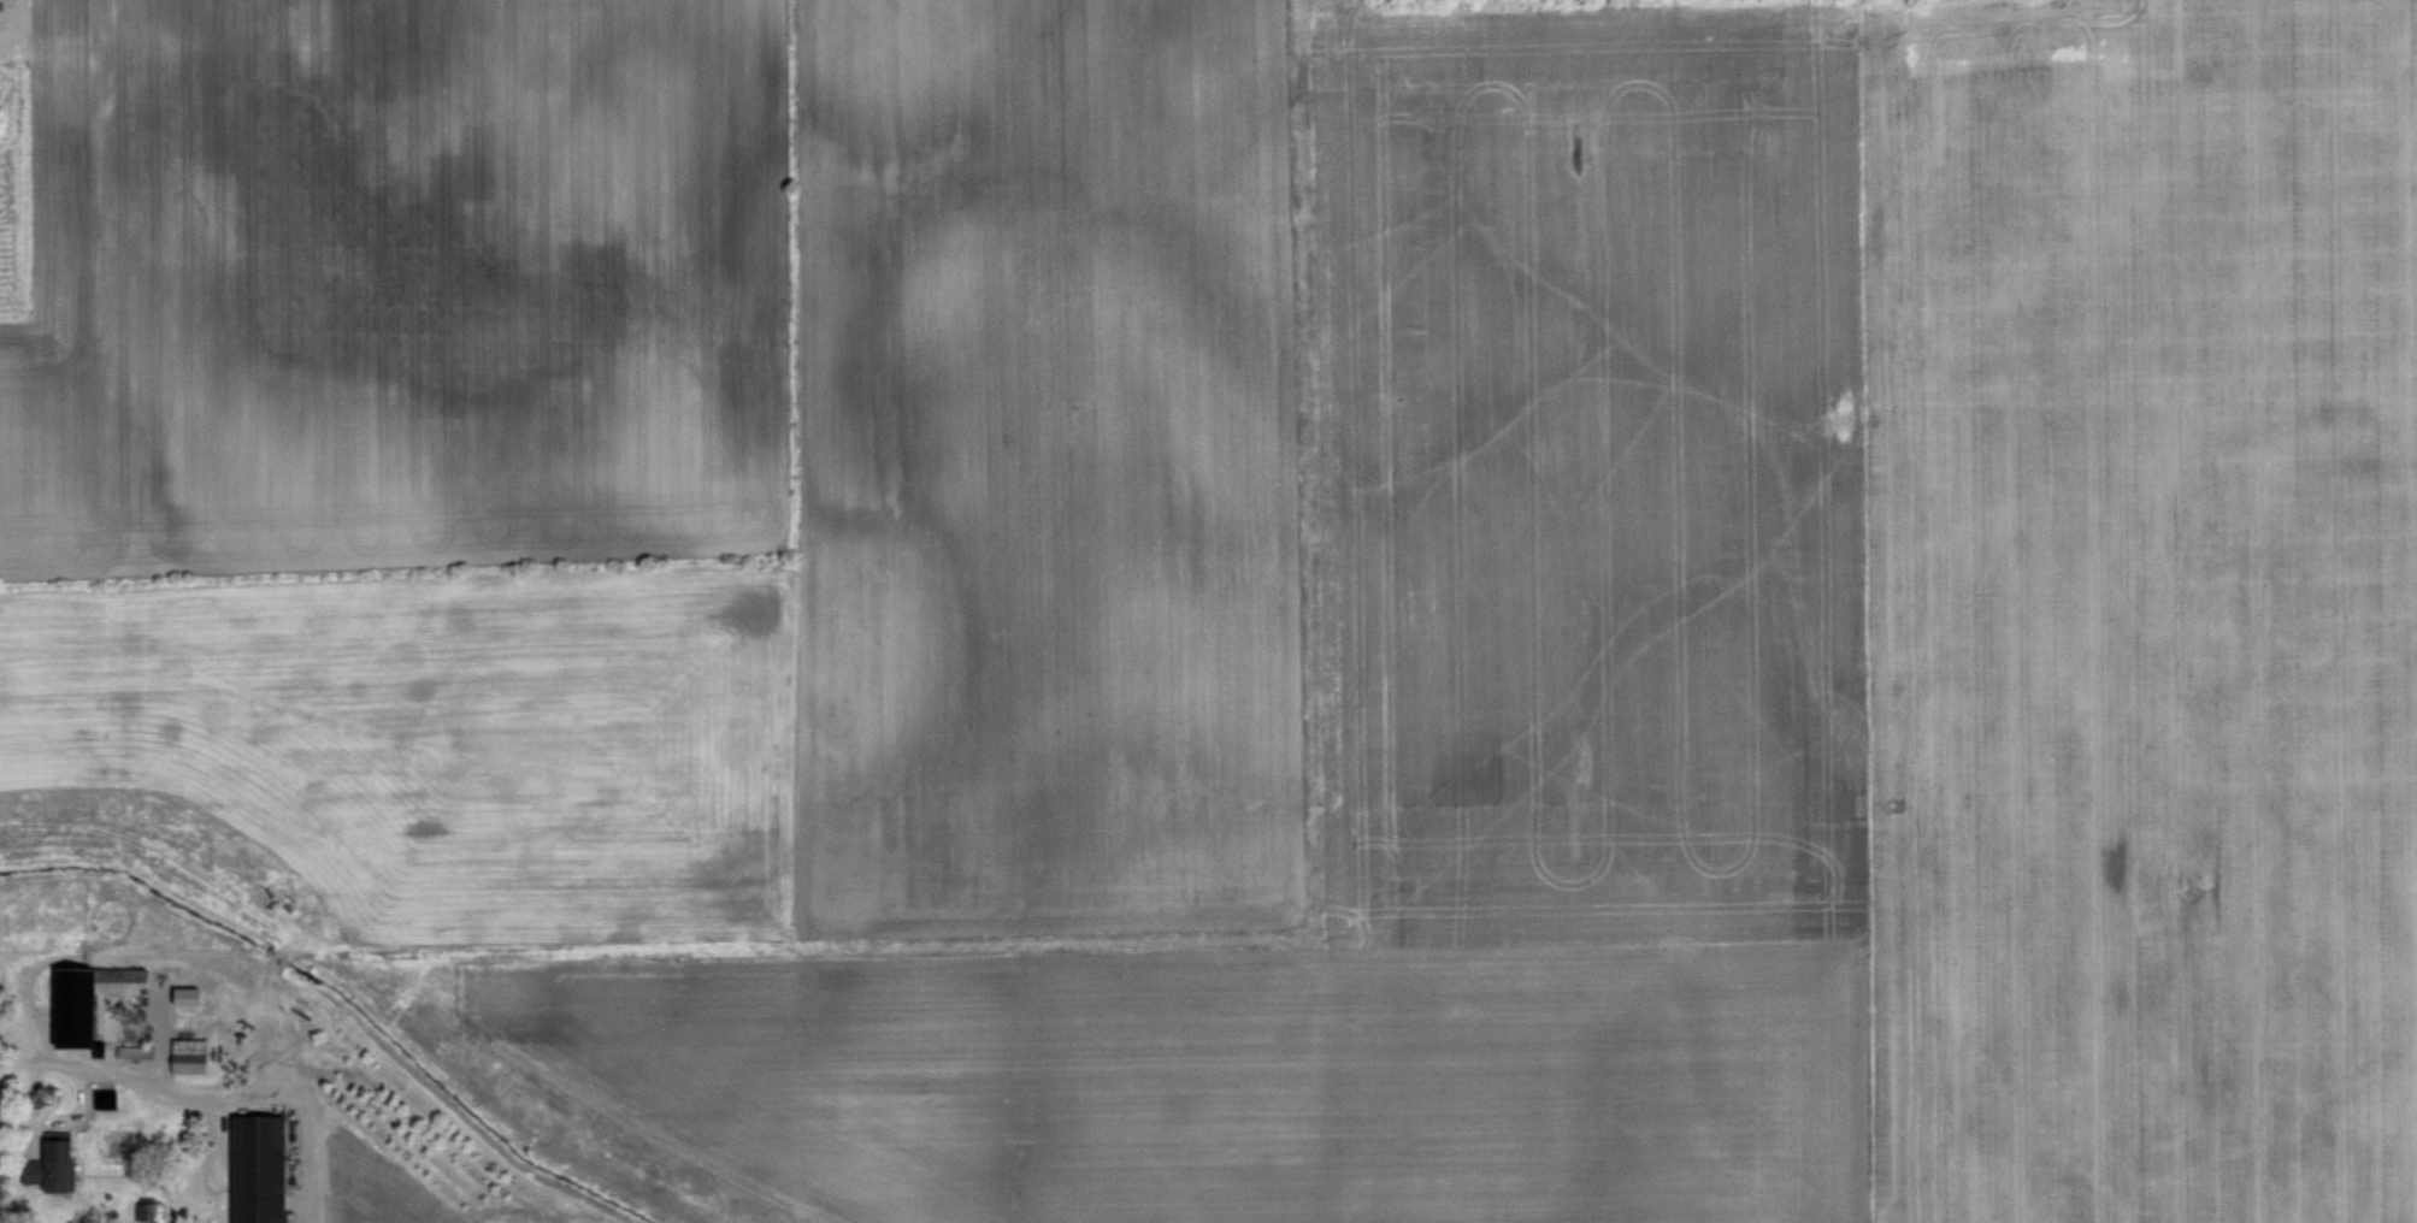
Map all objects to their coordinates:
building: (92, 995)
building: (190, 1053)
road: (16, 1060)
building: (55, 1165)
building: (261, 1168)

